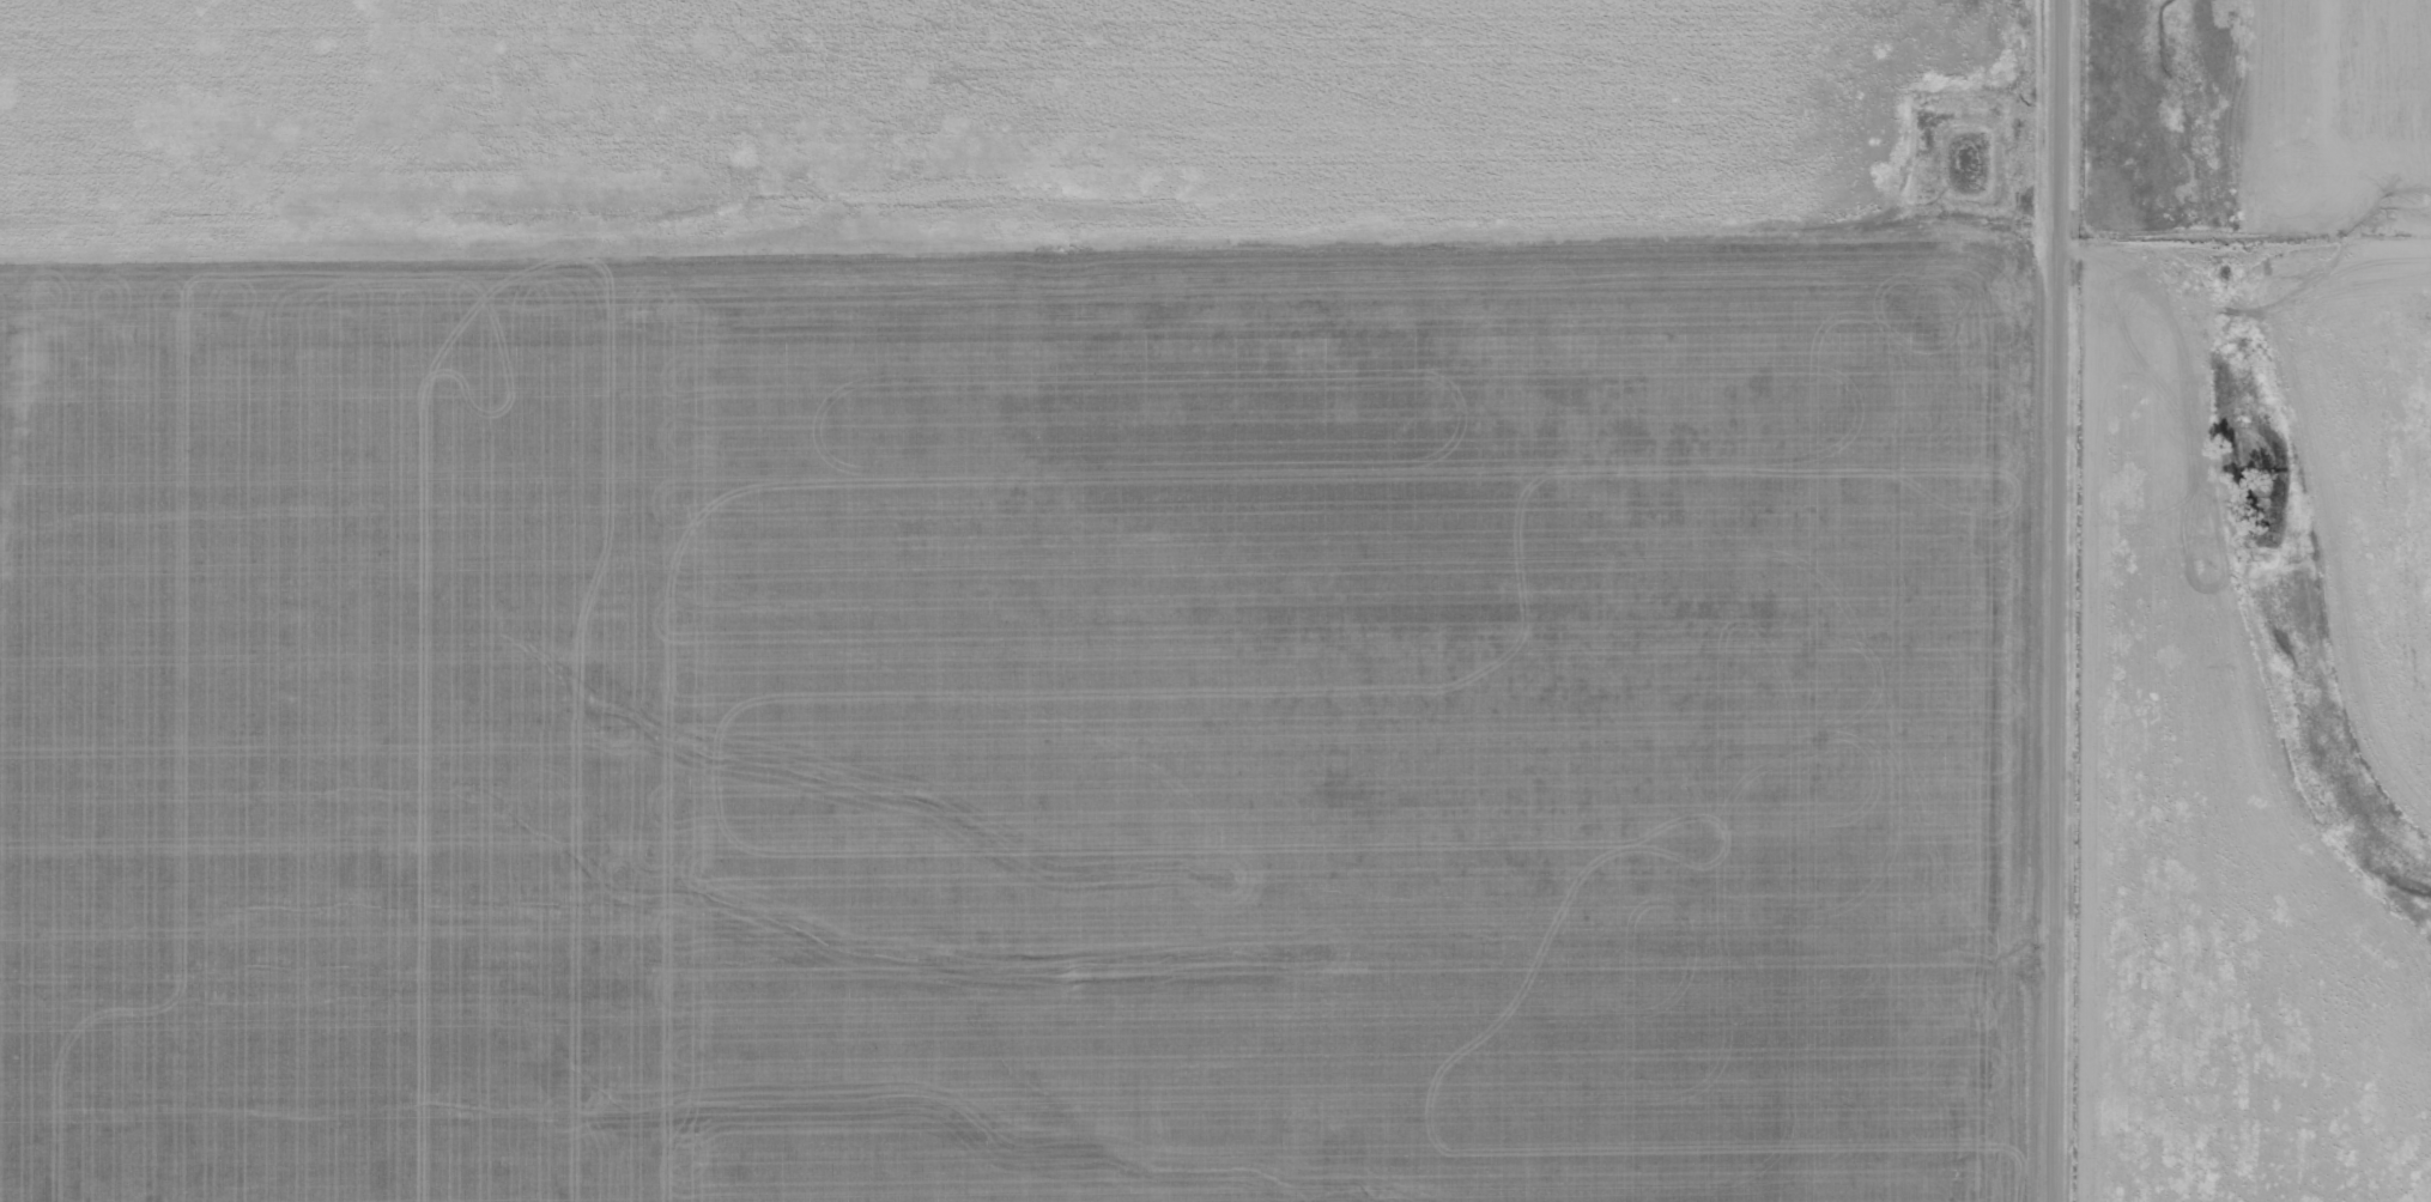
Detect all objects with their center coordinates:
road: (2059, 601)

